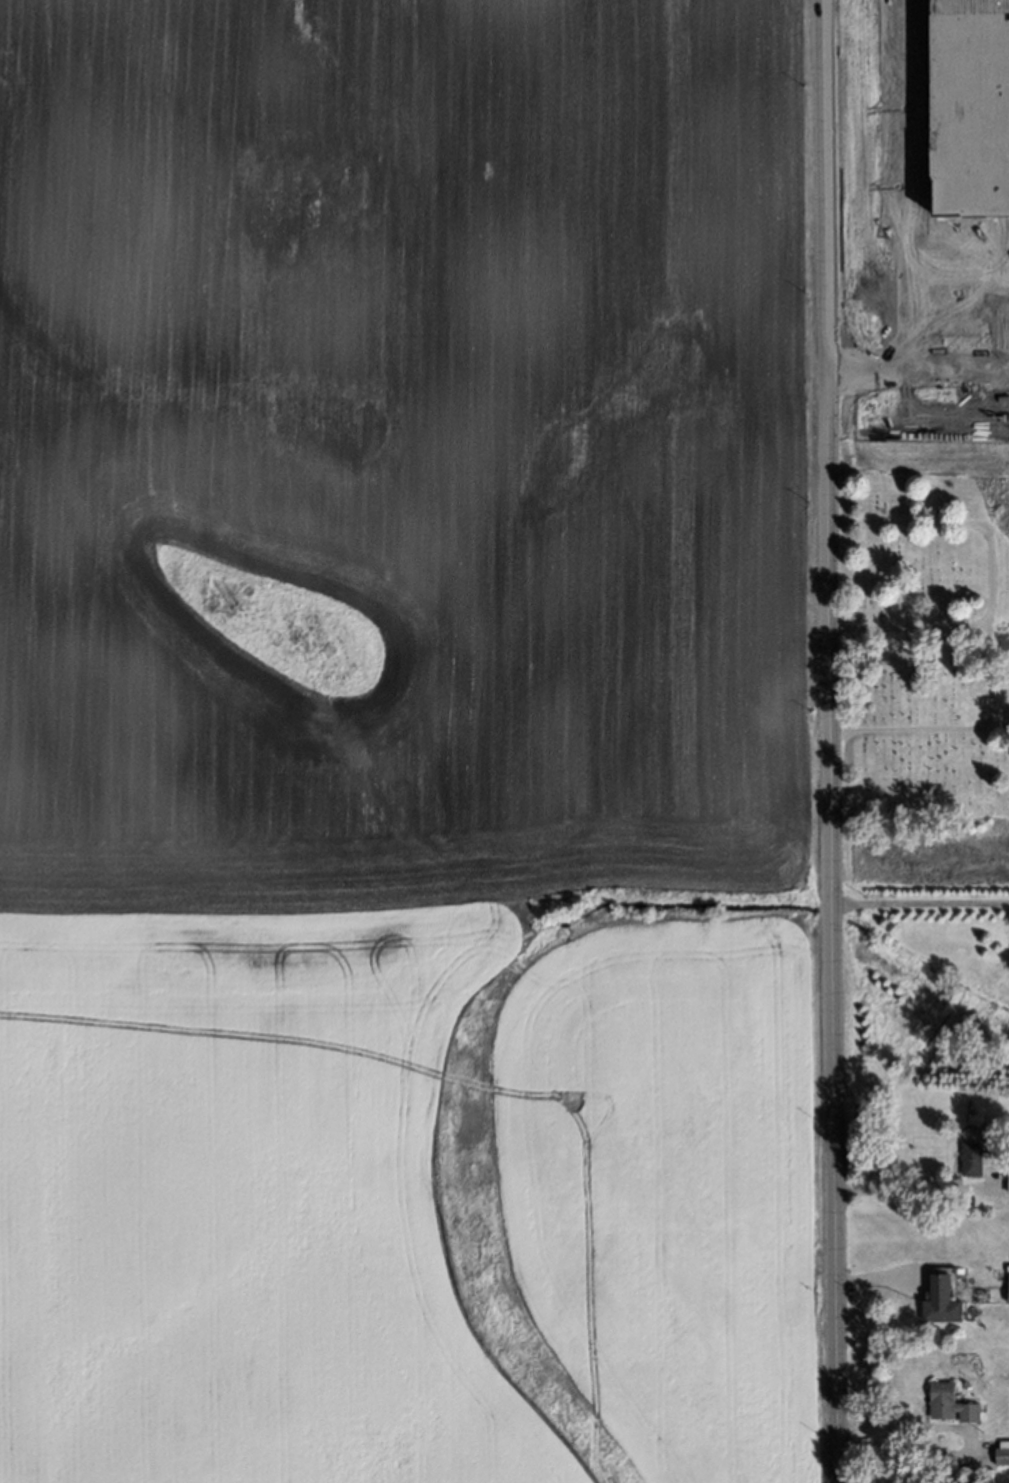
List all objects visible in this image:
crop: (921, 232)
road: (904, 626)
road: (985, 626)
road: (825, 741)
crop: (923, 856)
road: (917, 902)
building: (967, 1157)
building: (1004, 1184)
road: (906, 1188)
building: (1004, 1292)
building: (936, 1301)
building: (938, 1398)
building: (965, 1411)
road: (898, 1426)
building: (999, 1447)
building: (973, 1476)

